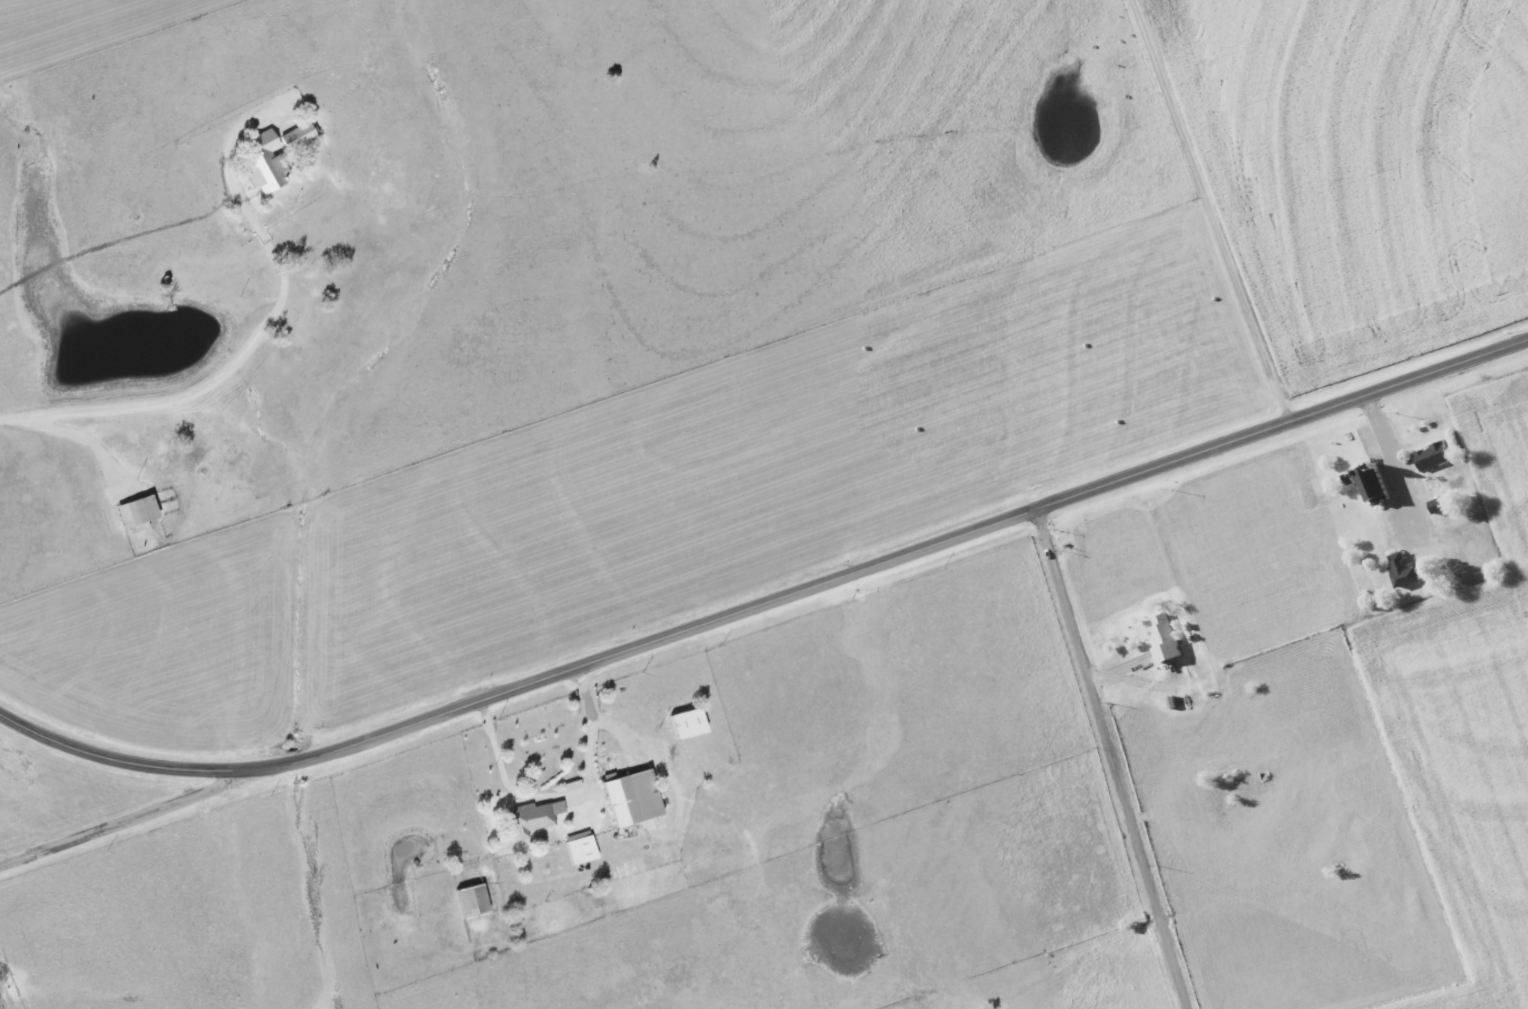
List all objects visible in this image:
building: (300, 135)
building: (267, 163)
road: (1220, 209)
road: (223, 371)
road: (84, 439)
building: (1435, 456)
building: (139, 513)
building: (1404, 570)
road: (767, 602)
building: (690, 723)
road: (1111, 758)
building: (634, 798)
road: (140, 817)
building: (534, 817)
building: (582, 847)
building: (474, 901)
road: (0, 1007)

